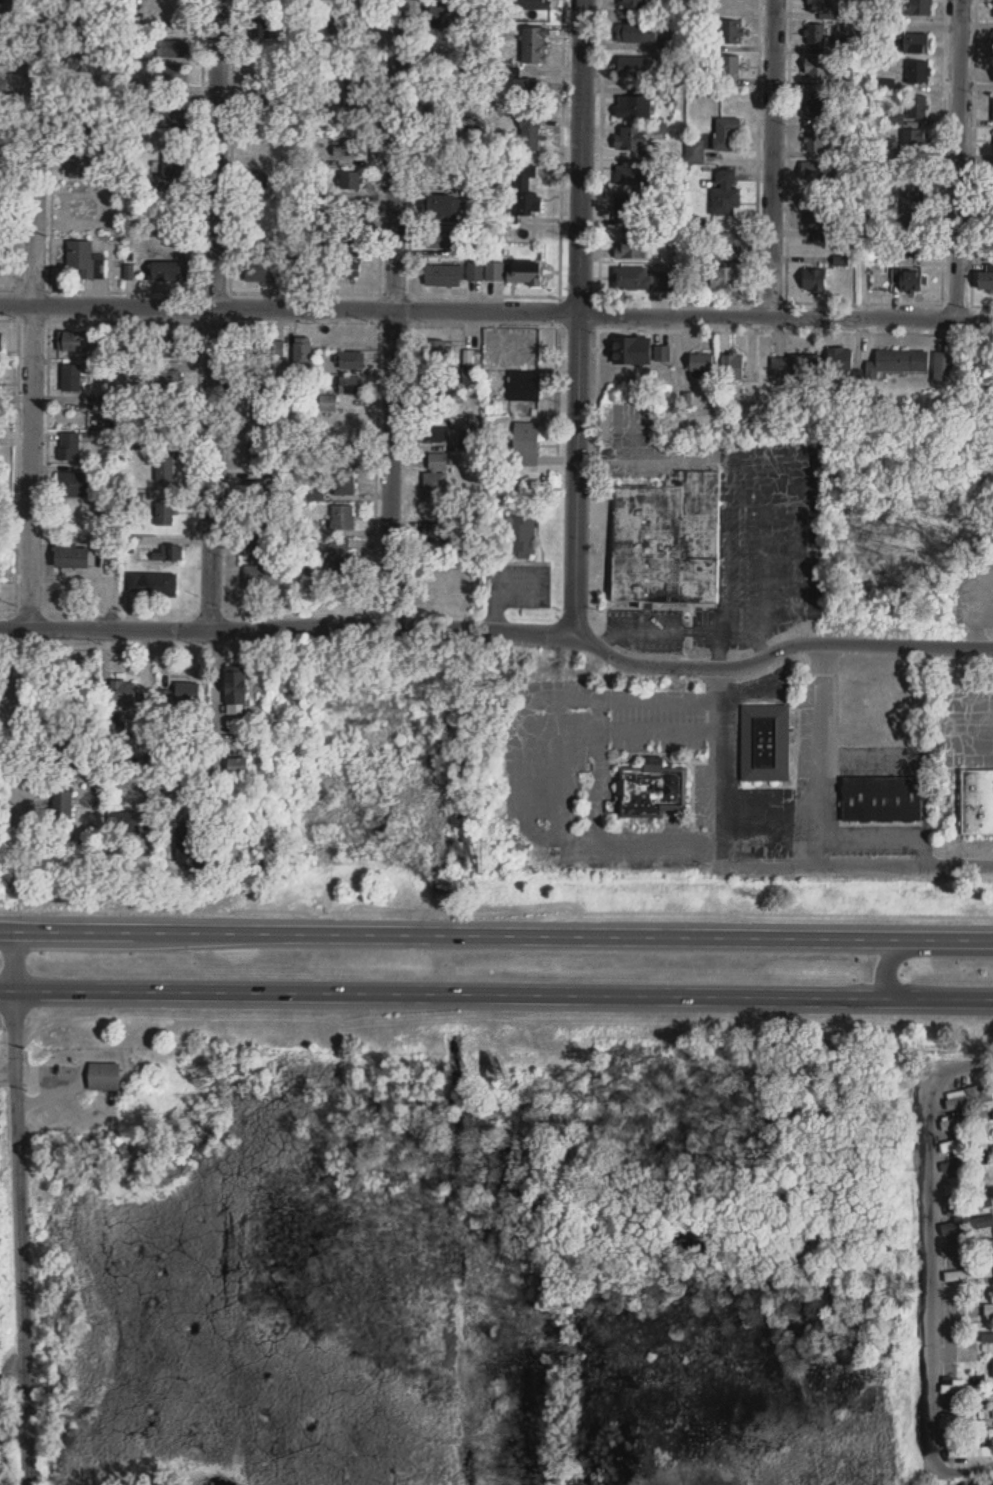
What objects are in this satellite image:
building: (255, 2)
building: (631, 3)
building: (540, 4)
building: (915, 7)
building: (822, 8)
building: (444, 9)
building: (3, 15)
building: (341, 24)
building: (262, 27)
building: (730, 32)
building: (634, 33)
building: (816, 36)
building: (913, 42)
building: (537, 44)
building: (171, 48)
building: (4, 50)
building: (91, 60)
building: (258, 61)
building: (636, 65)
building: (730, 67)
building: (817, 68)
building: (459, 69)
building: (918, 71)
building: (179, 73)
building: (1, 81)
building: (529, 88)
building: (357, 96)
building: (0, 99)
building: (260, 104)
building: (816, 104)
building: (632, 106)
building: (916, 106)
building: (333, 114)
building: (168, 118)
building: (1, 127)
building: (533, 132)
building: (725, 134)
building: (86, 136)
building: (629, 138)
building: (912, 139)
building: (815, 140)
road: (51, 144)
road: (202, 145)
road: (231, 145)
road: (380, 145)
building: (354, 149)
road: (973, 152)
road: (773, 156)
road: (865, 157)
road: (19, 158)
road: (957, 159)
building: (1, 162)
building: (78, 164)
building: (174, 164)
road: (757, 164)
building: (814, 172)
building: (630, 173)
building: (351, 181)
building: (257, 183)
building: (526, 192)
building: (724, 192)
building: (2, 198)
building: (441, 206)
building: (912, 207)
building: (628, 208)
building: (815, 210)
road: (409, 221)
road: (600, 225)
building: (0, 226)
road: (560, 230)
building: (442, 237)
building: (353, 240)
building: (631, 245)
building: (727, 245)
building: (911, 246)
building: (84, 257)
building: (1, 265)
building: (298, 266)
building: (352, 269)
building: (264, 270)
building: (173, 271)
building: (476, 271)
building: (497, 271)
building: (528, 272)
building: (446, 275)
building: (723, 278)
building: (907, 278)
building: (641, 279)
building: (985, 279)
building: (813, 280)
road: (66, 288)
road: (304, 290)
road: (864, 301)
road: (289, 306)
road: (392, 312)
road: (32, 313)
road: (213, 313)
road: (786, 314)
road: (578, 316)
road: (101, 318)
road: (261, 320)
road: (768, 329)
building: (80, 341)
building: (2, 342)
building: (142, 345)
building: (172, 346)
building: (270, 348)
building: (306, 351)
building: (439, 351)
building: (629, 351)
building: (662, 354)
building: (839, 359)
building: (353, 360)
building: (900, 361)
building: (700, 362)
building: (731, 367)
building: (791, 367)
building: (942, 367)
building: (136, 371)
building: (472, 376)
building: (73, 378)
building: (169, 380)
building: (353, 385)
building: (526, 385)
building: (113, 403)
building: (330, 403)
building: (260, 412)
building: (0, 426)
building: (436, 435)
building: (472, 440)
building: (529, 444)
building: (71, 447)
building: (260, 448)
building: (441, 461)
building: (167, 470)
building: (345, 482)
building: (74, 485)
building: (438, 488)
building: (255, 491)
building: (166, 513)
building: (345, 518)
building: (520, 533)
building: (260, 534)
building: (666, 541)
road: (764, 549)
building: (169, 553)
building: (75, 556)
building: (344, 561)
building: (265, 578)
building: (155, 584)
road: (7, 606)
road: (44, 606)
road: (976, 623)
road: (288, 626)
road: (687, 629)
road: (779, 646)
road: (719, 648)
building: (242, 692)
building: (125, 693)
building: (183, 695)
road: (216, 723)
road: (15, 742)
building: (765, 744)
road: (819, 751)
road: (720, 764)
building: (245, 767)
road: (598, 771)
building: (651, 791)
building: (881, 800)
building: (976, 803)
road: (871, 832)
road: (925, 852)
building: (199, 853)
road: (858, 864)
road: (7, 929)
road: (504, 932)
road: (911, 949)
road: (7, 987)
road: (464, 991)
road: (954, 996)
building: (108, 1076)
building: (969, 1097)
building: (959, 1123)
building: (964, 1143)
building: (959, 1185)
road: (20, 1207)
building: (964, 1207)
road: (931, 1272)
building: (968, 1275)
building: (989, 1310)
building: (963, 1314)
building: (987, 1338)
building: (960, 1389)
building: (959, 1423)
building: (968, 1453)

